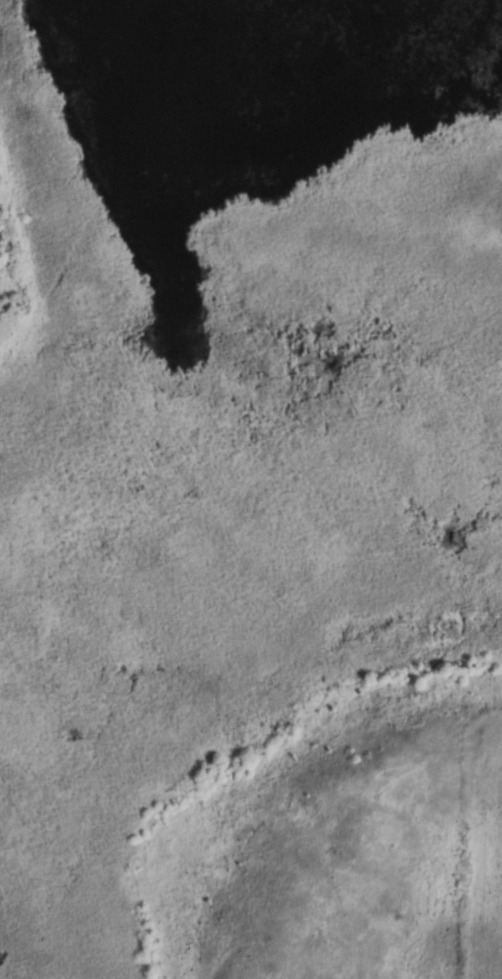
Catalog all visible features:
park: (250, 74)

